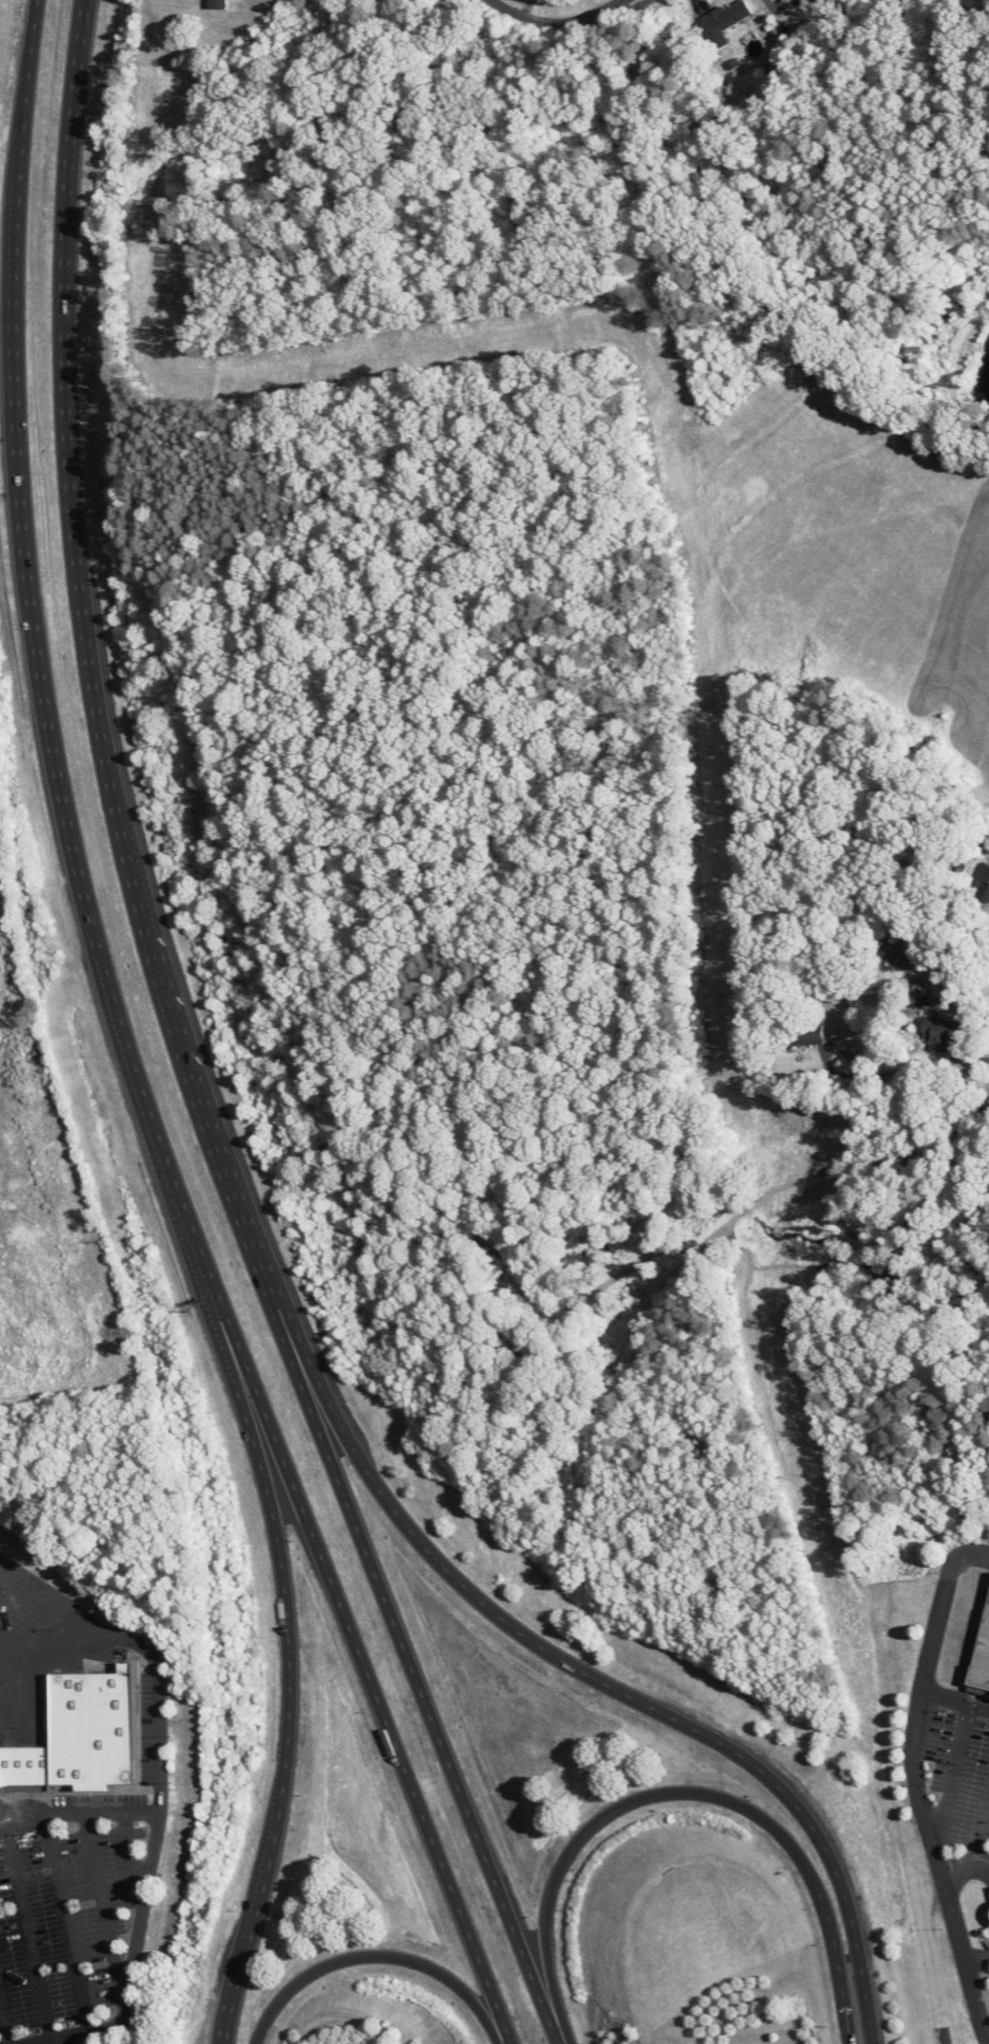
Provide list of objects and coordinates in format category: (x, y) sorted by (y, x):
building: (217, 4)
building: (725, 23)
road: (555, 24)
building: (981, 883)
building: (892, 955)
road: (952, 999)
building: (941, 1033)
building: (806, 1034)
road: (188, 1048)
road: (131, 1050)
road: (825, 1053)
road: (929, 1060)
road: (699, 1243)
road: (289, 1598)
road: (70, 1609)
road: (940, 1609)
road: (23, 1619)
road: (527, 1631)
building: (983, 1667)
road: (43, 1718)
road: (159, 1724)
building: (92, 1733)
building: (25, 1770)
road: (952, 1778)
building: (0, 1786)
road: (683, 1793)
road: (103, 1809)
road: (23, 1821)
road: (981, 1833)
road: (929, 1836)
road: (131, 1861)
road: (964, 1868)
road: (104, 1906)
road: (68, 1923)
road: (29, 1935)
road: (135, 1956)
road: (378, 1958)
road: (976, 1958)
road: (5, 2015)
road: (844, 2019)
road: (51, 2043)

